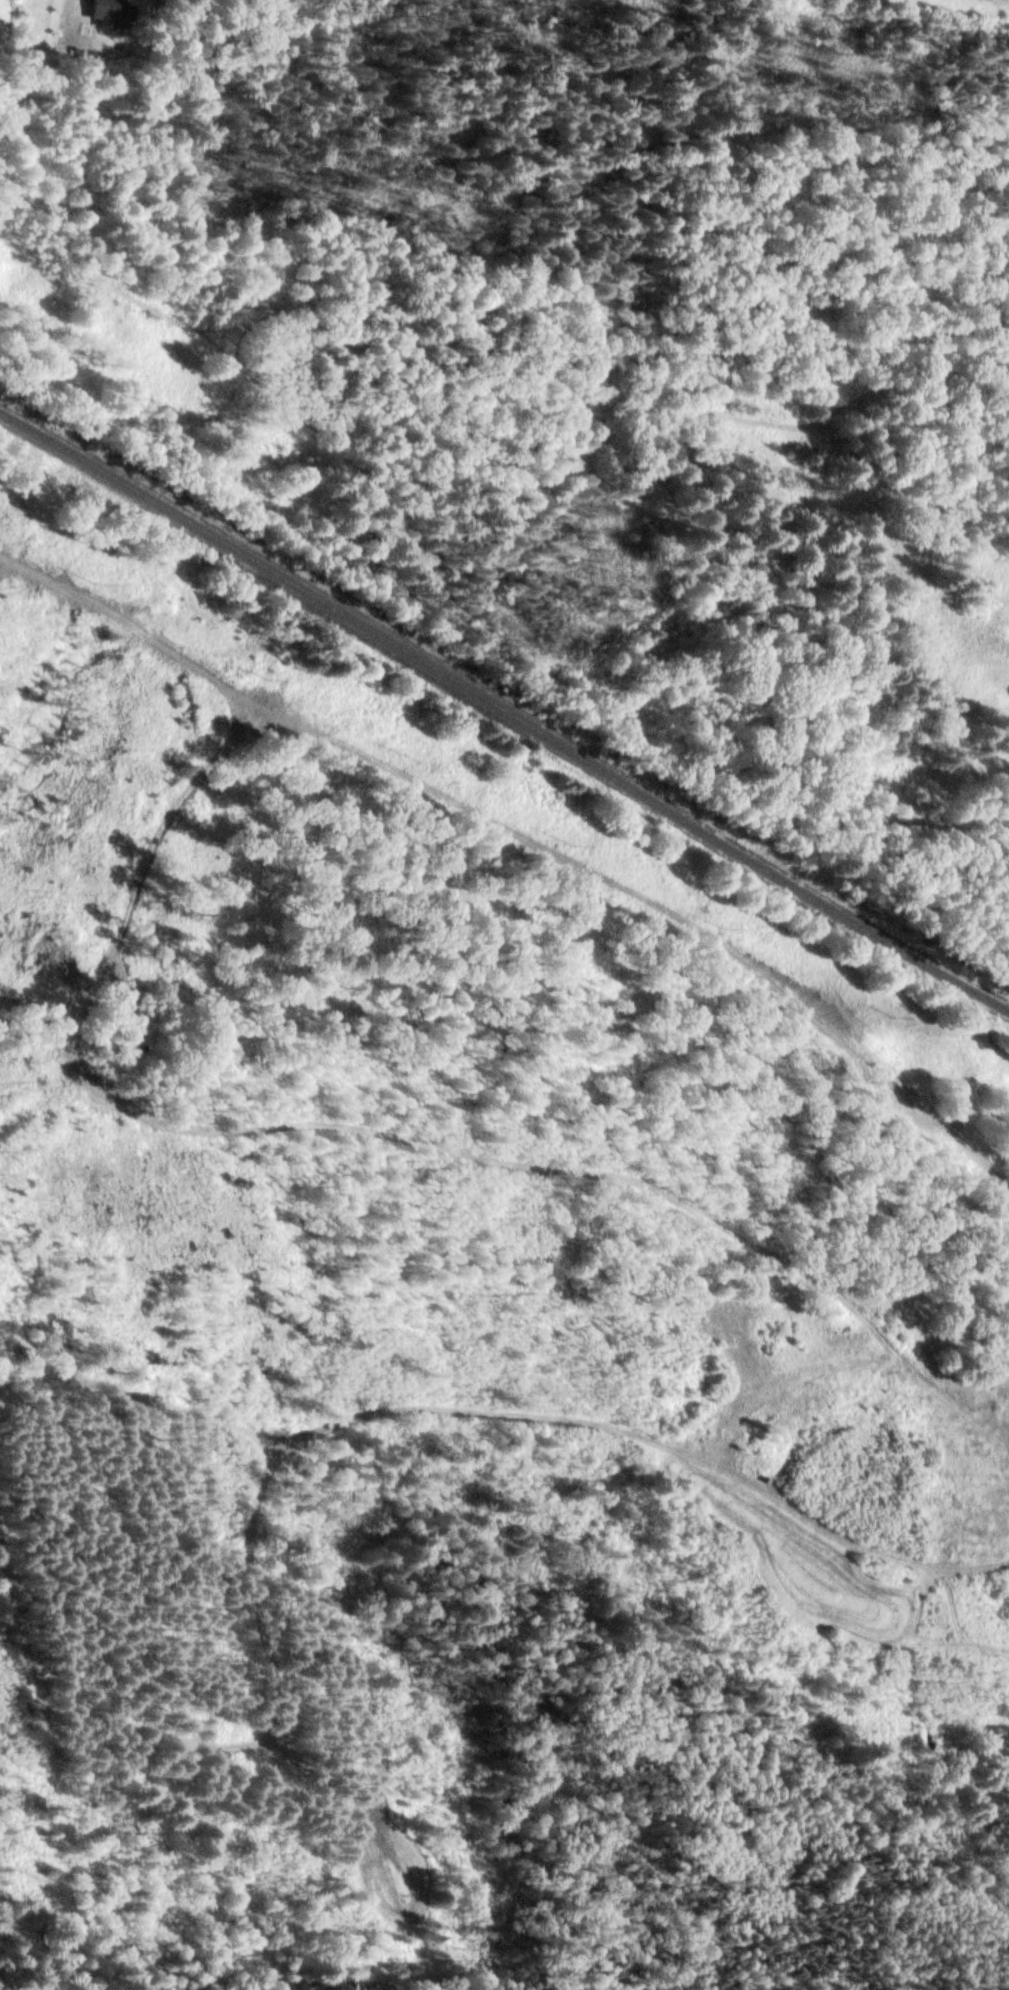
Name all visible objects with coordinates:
railway: (505, 711)

